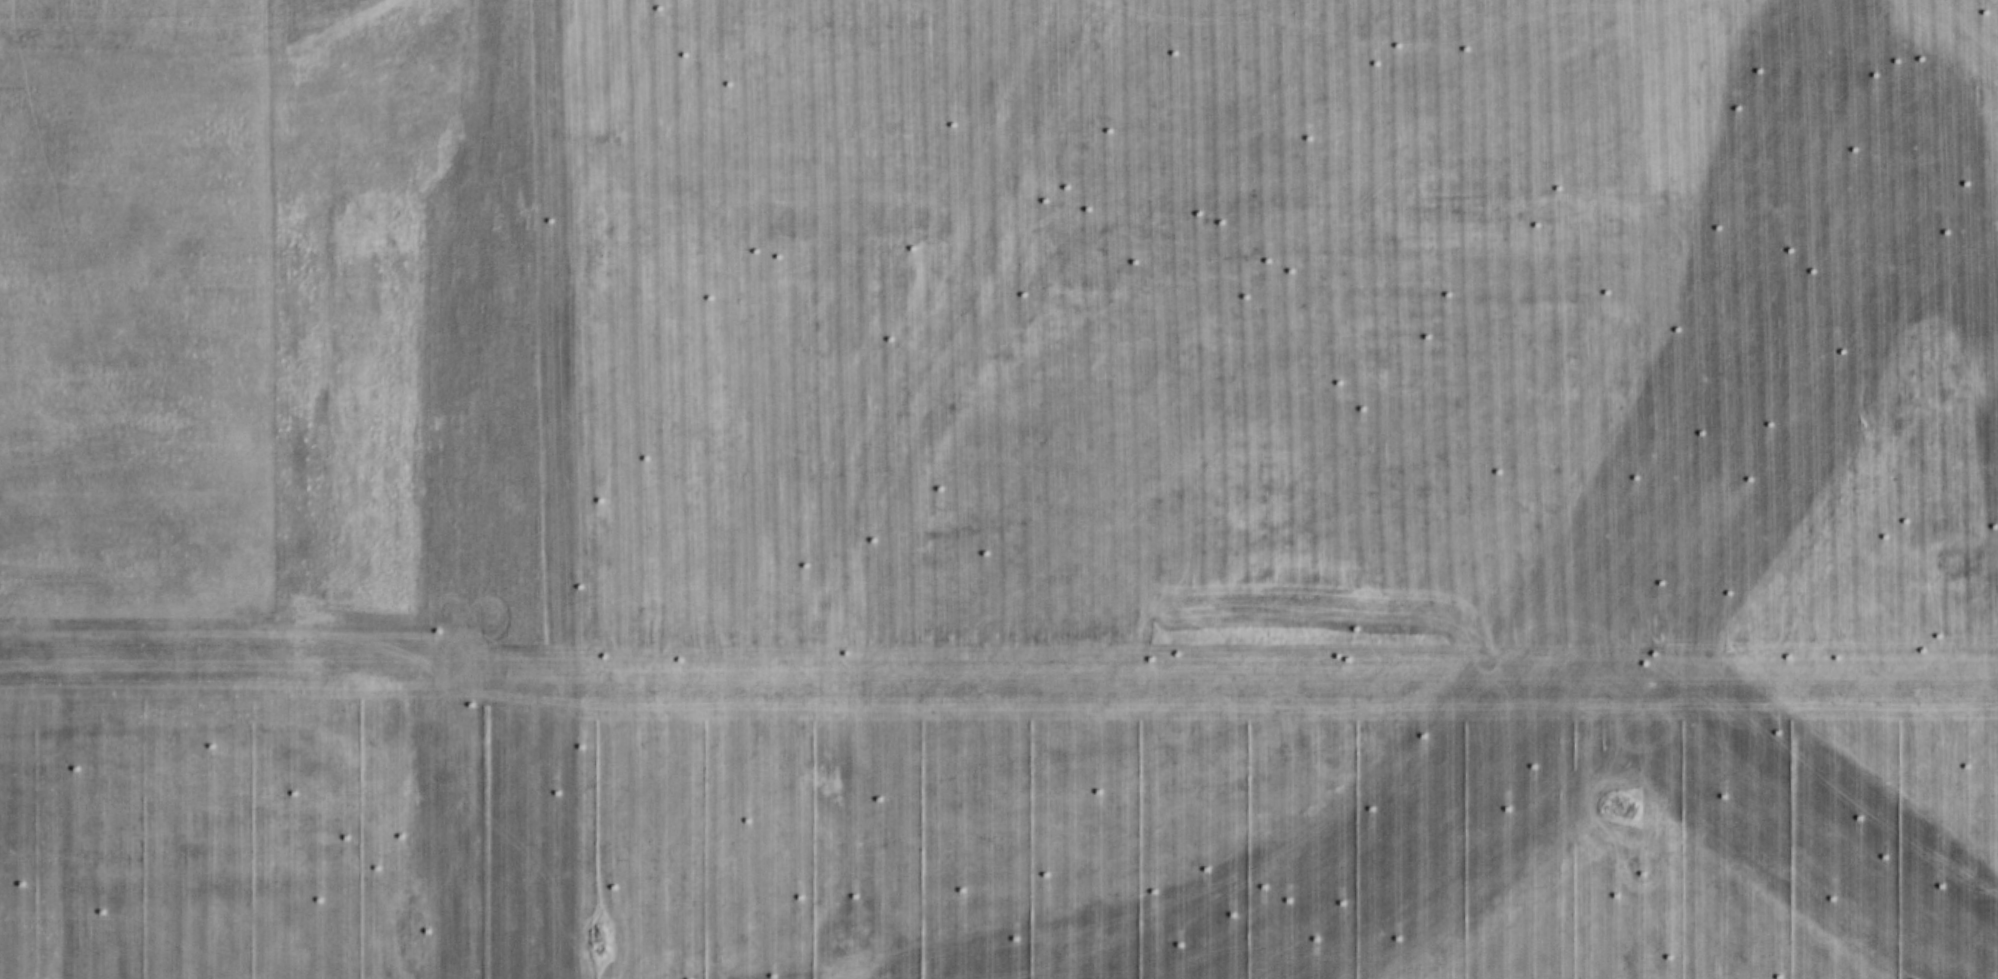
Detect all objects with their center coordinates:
quarry: (933, 438)

